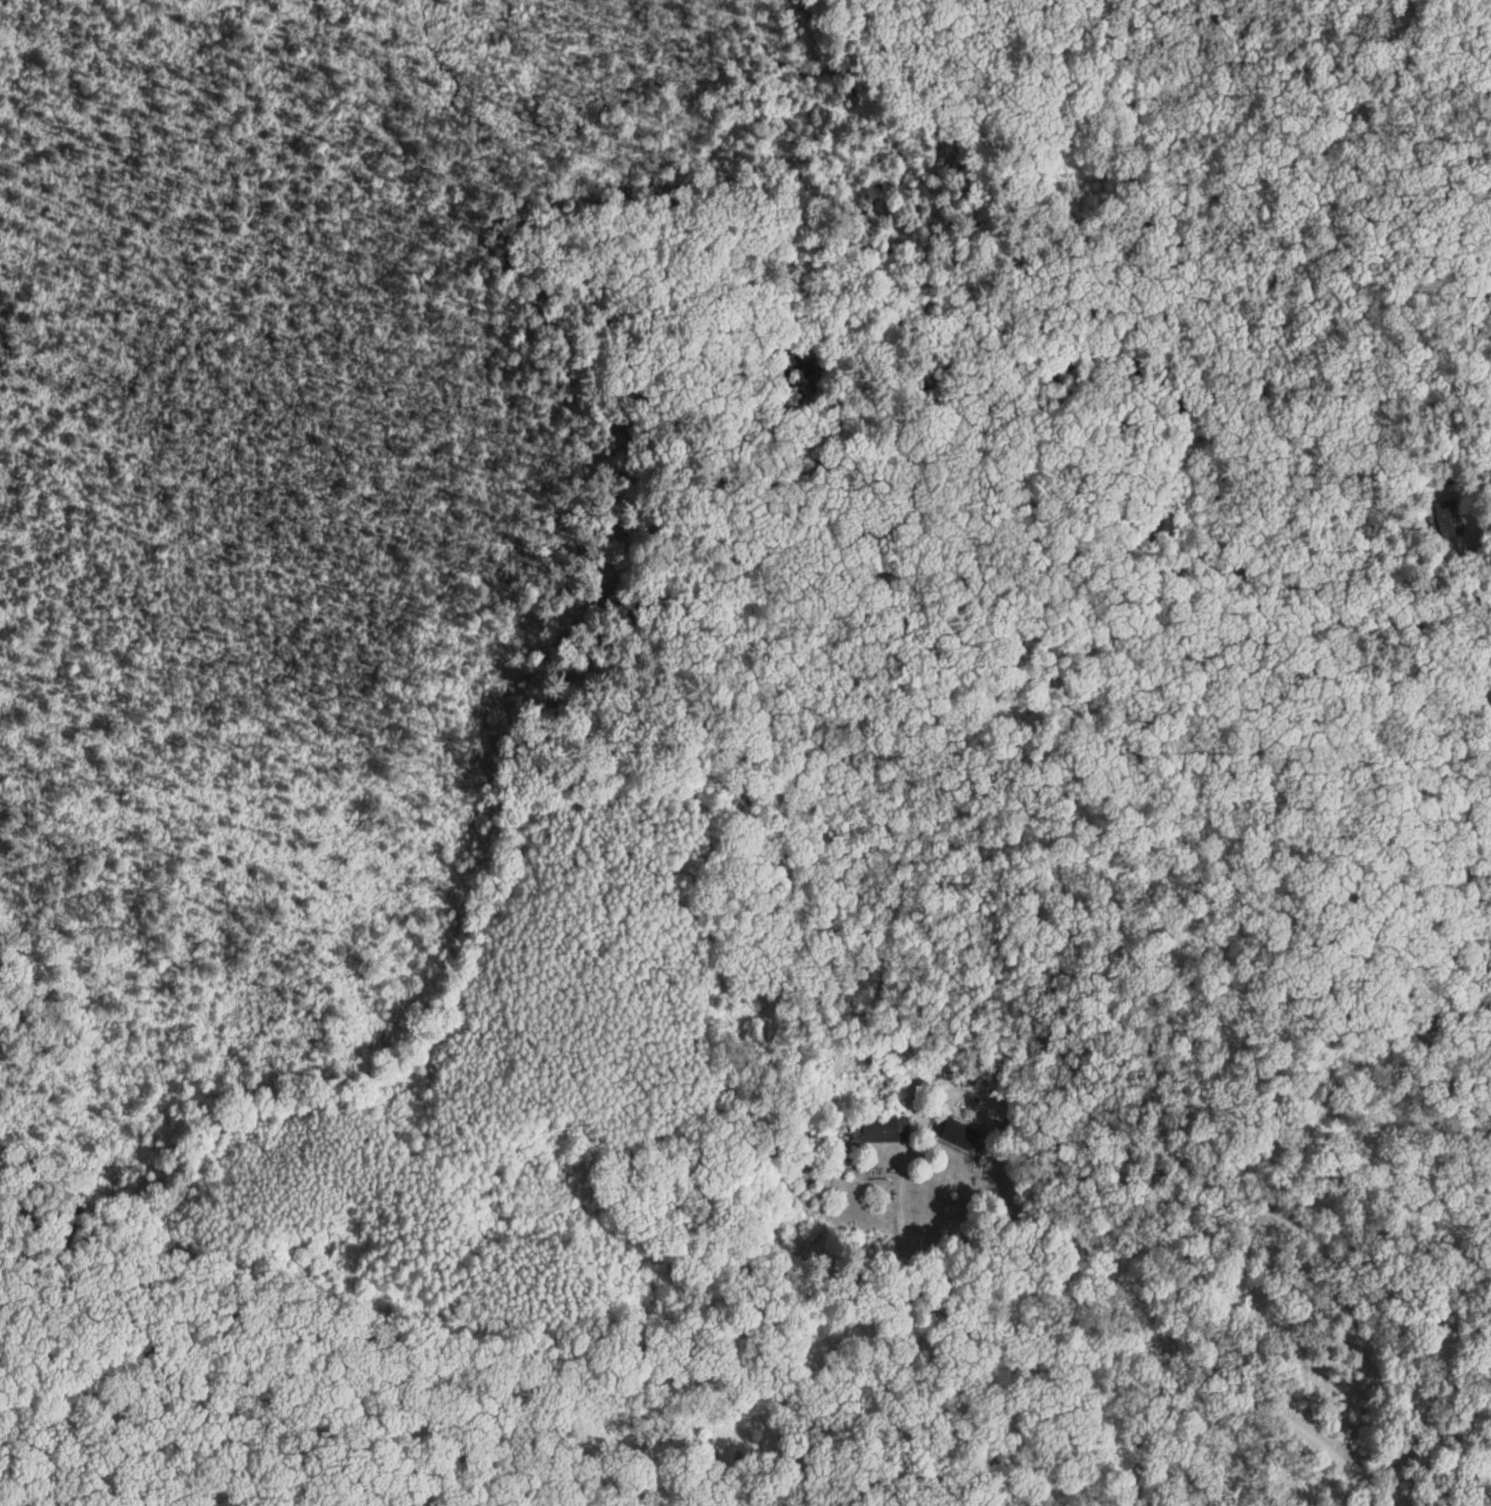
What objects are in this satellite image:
road: (1477, 487)
building: (886, 1131)
road: (911, 1134)
building: (963, 1138)
road: (1296, 1418)

